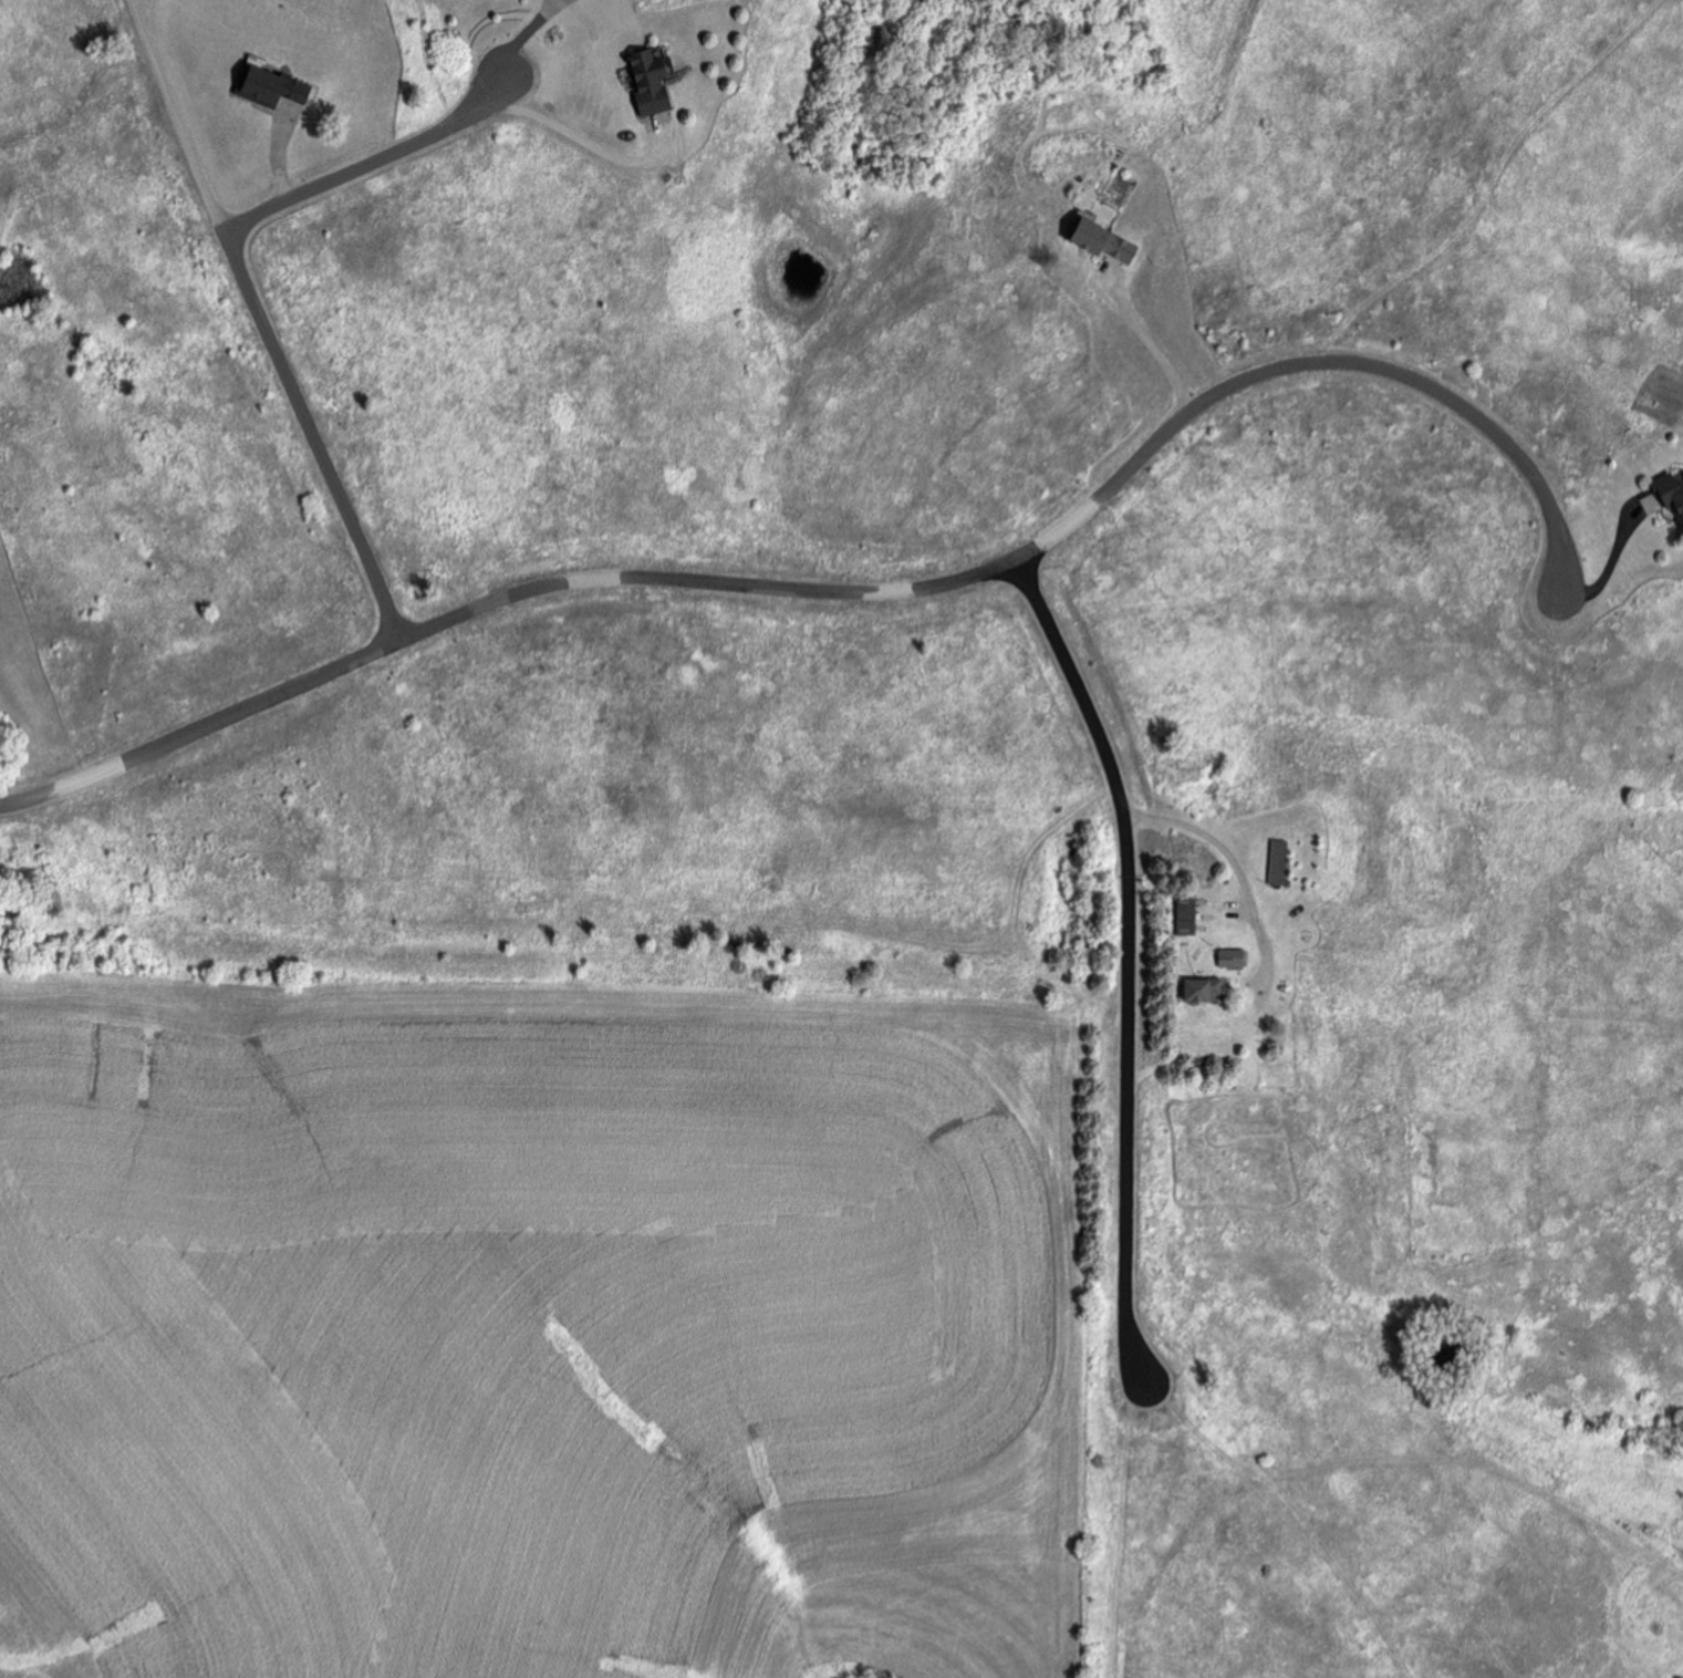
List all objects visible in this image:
building: (655, 82)
building: (274, 87)
road: (371, 163)
building: (1105, 242)
road: (266, 324)
building: (1674, 498)
road: (862, 599)
building: (1279, 861)
building: (1340, 864)
building: (1188, 918)
road: (1129, 964)
building: (1413, 972)
building: (1322, 976)
building: (1207, 994)

